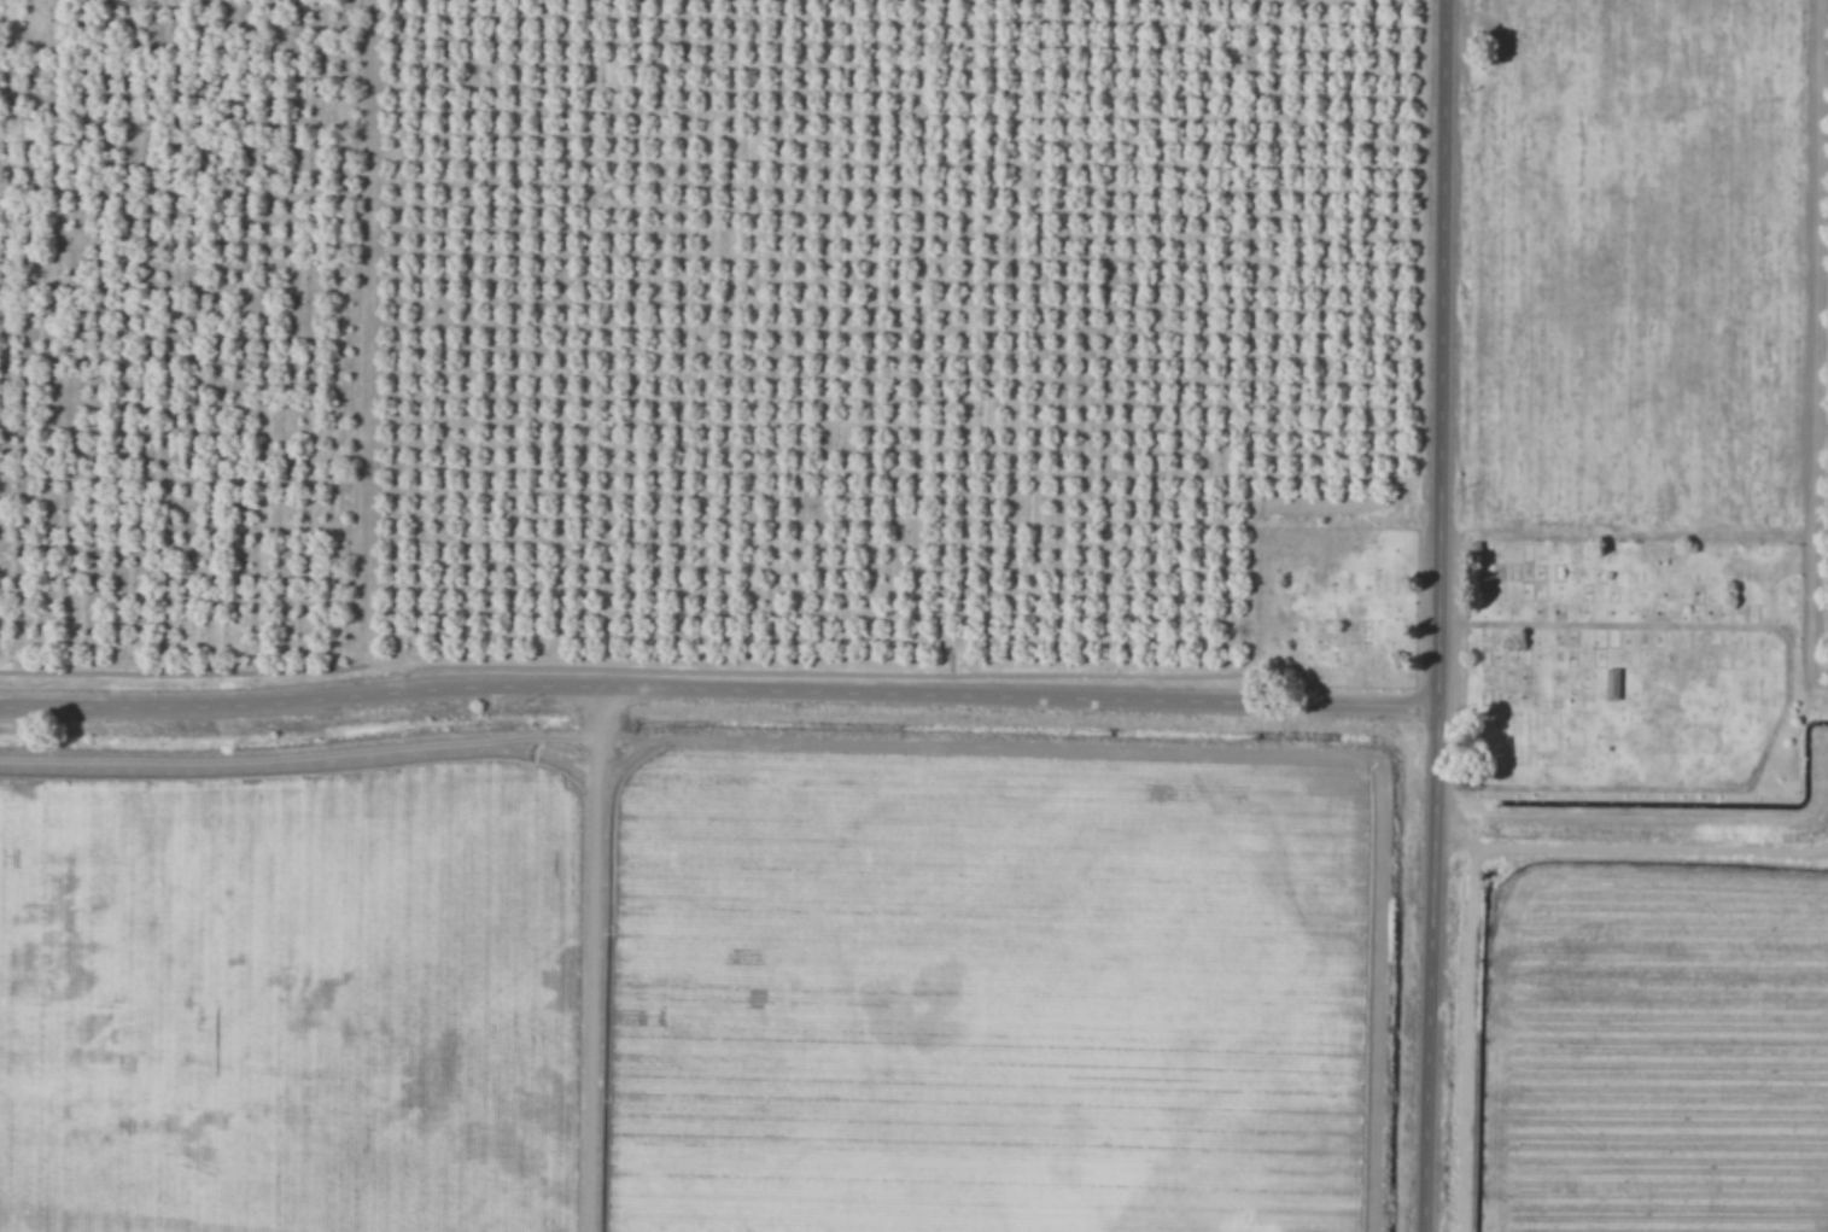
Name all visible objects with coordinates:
road: (1448, 615)
park: (1559, 649)
building: (1611, 685)
road: (723, 693)

